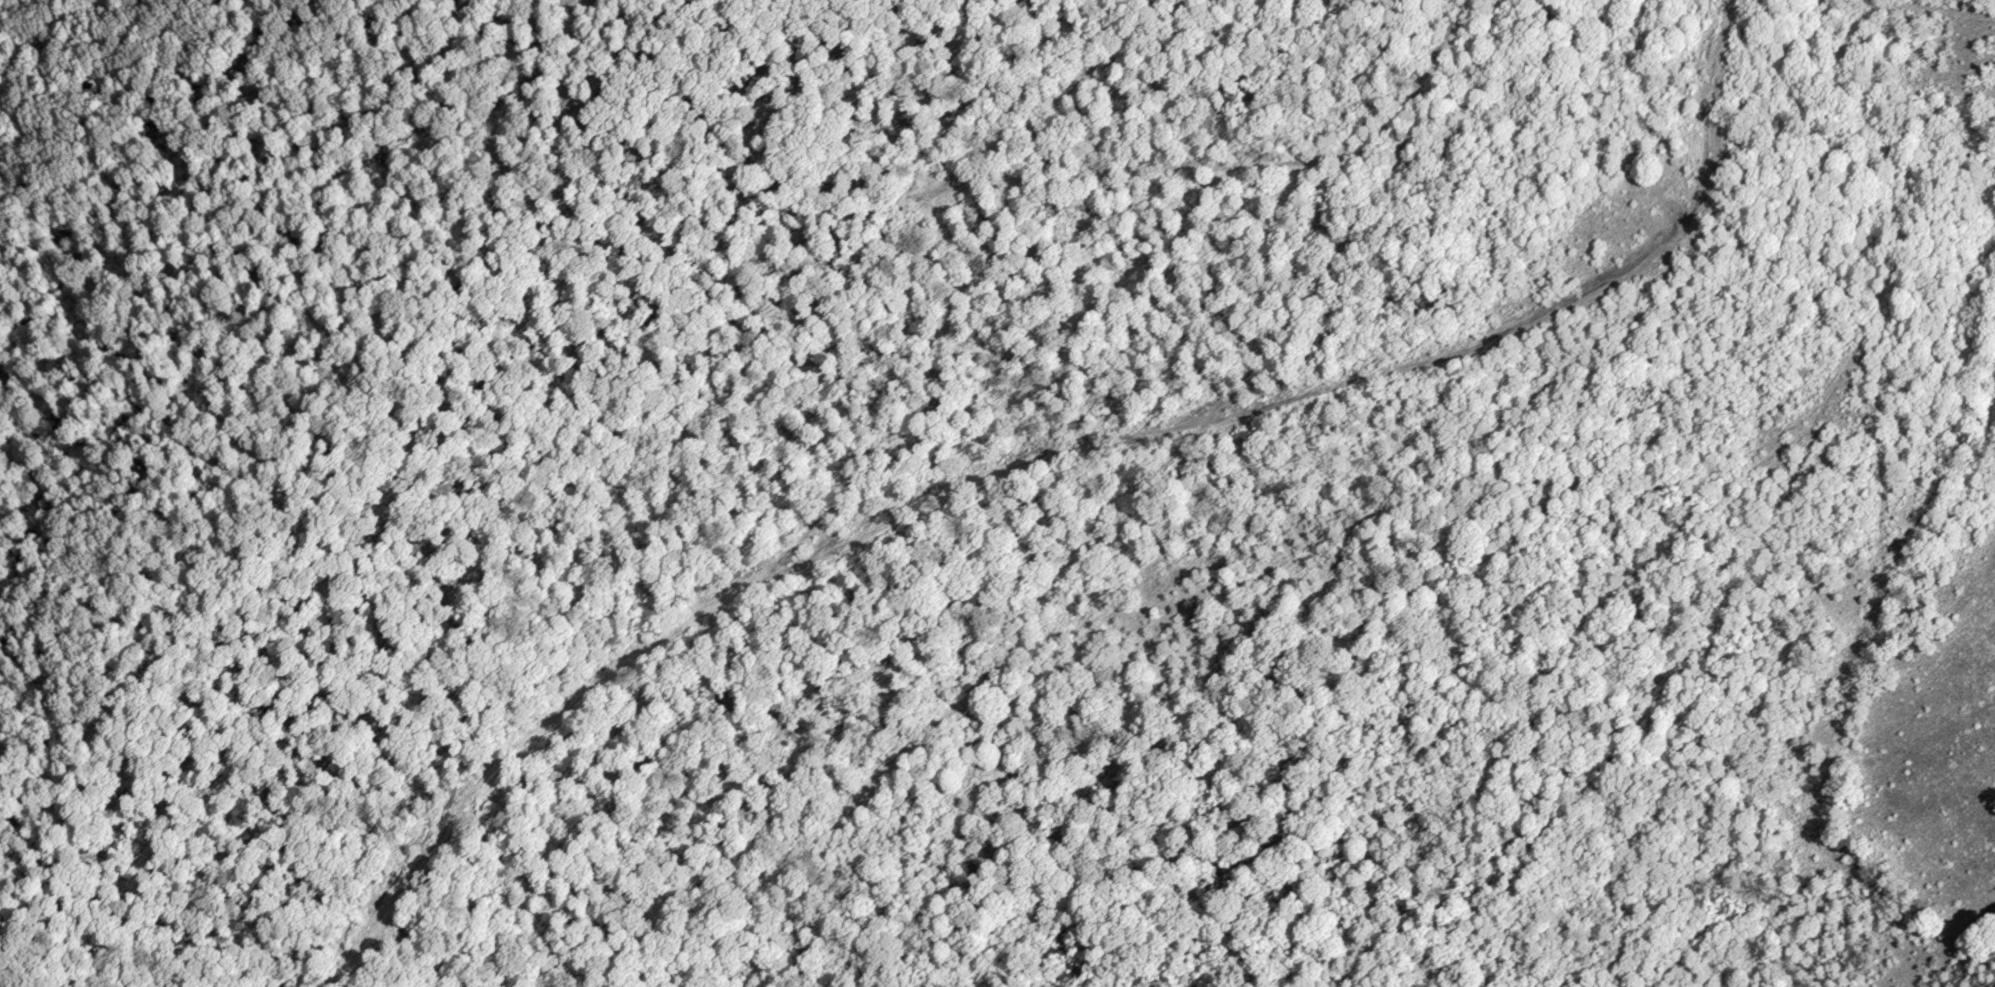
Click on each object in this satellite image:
road: (1037, 451)

